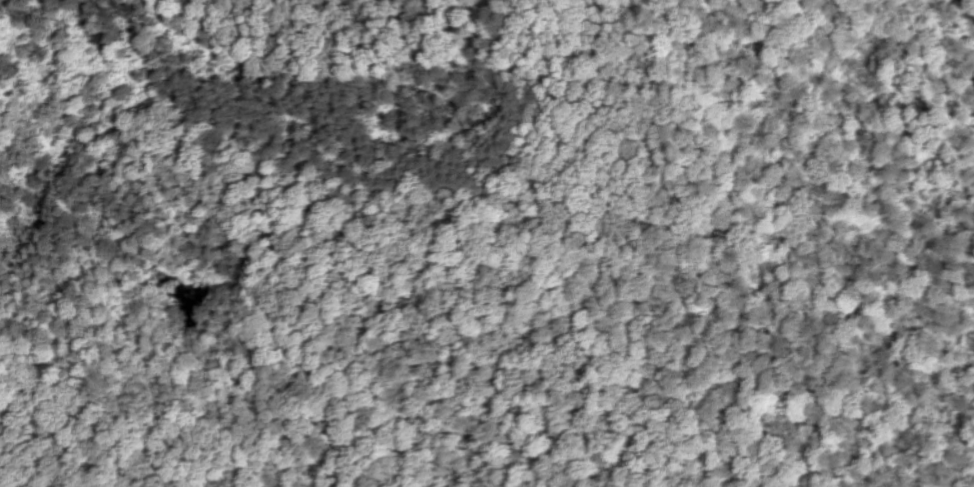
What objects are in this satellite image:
road: (972, 4)

